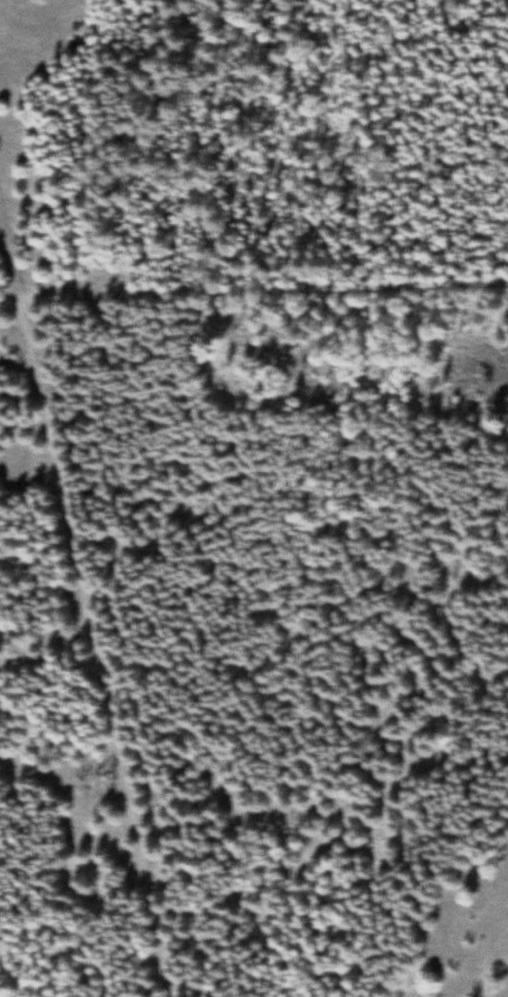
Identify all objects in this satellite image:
road: (10, 259)
road: (267, 291)
road: (13, 303)
park: (254, 498)
road: (89, 651)

